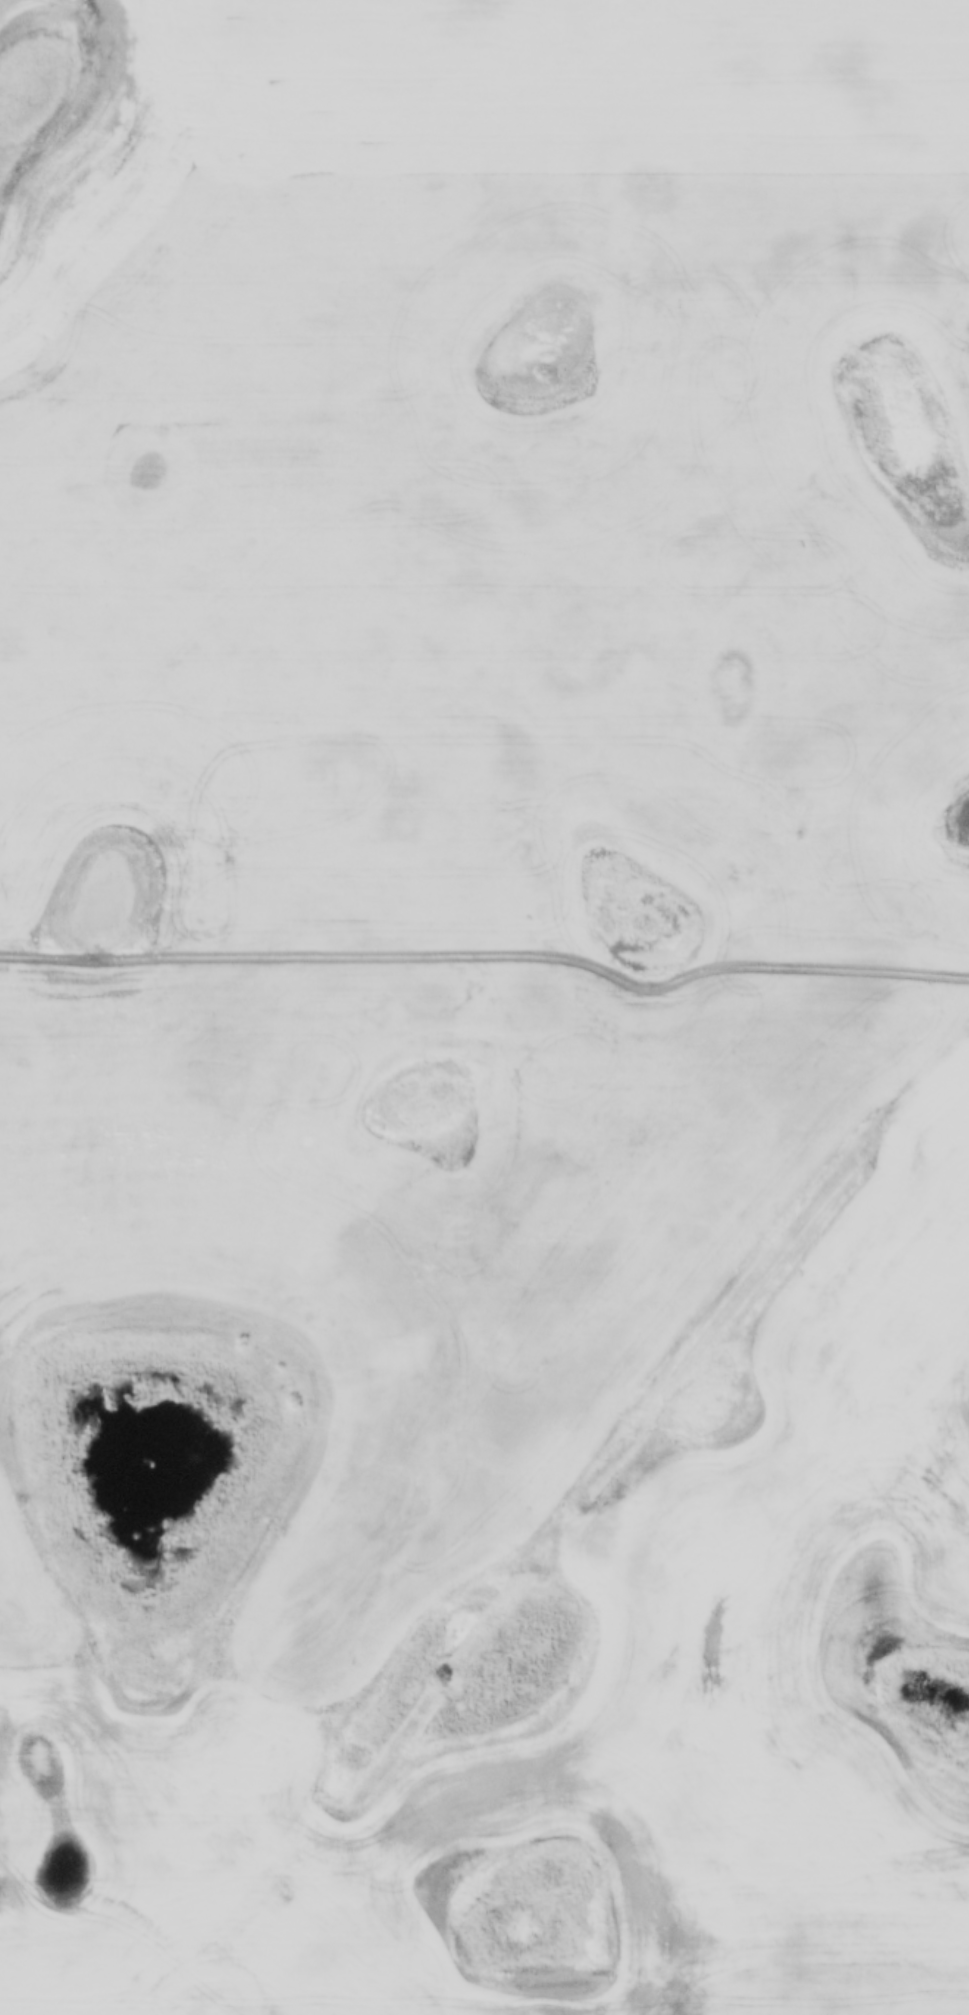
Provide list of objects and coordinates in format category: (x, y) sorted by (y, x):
road: (647, 1999)
road: (85, 2005)

